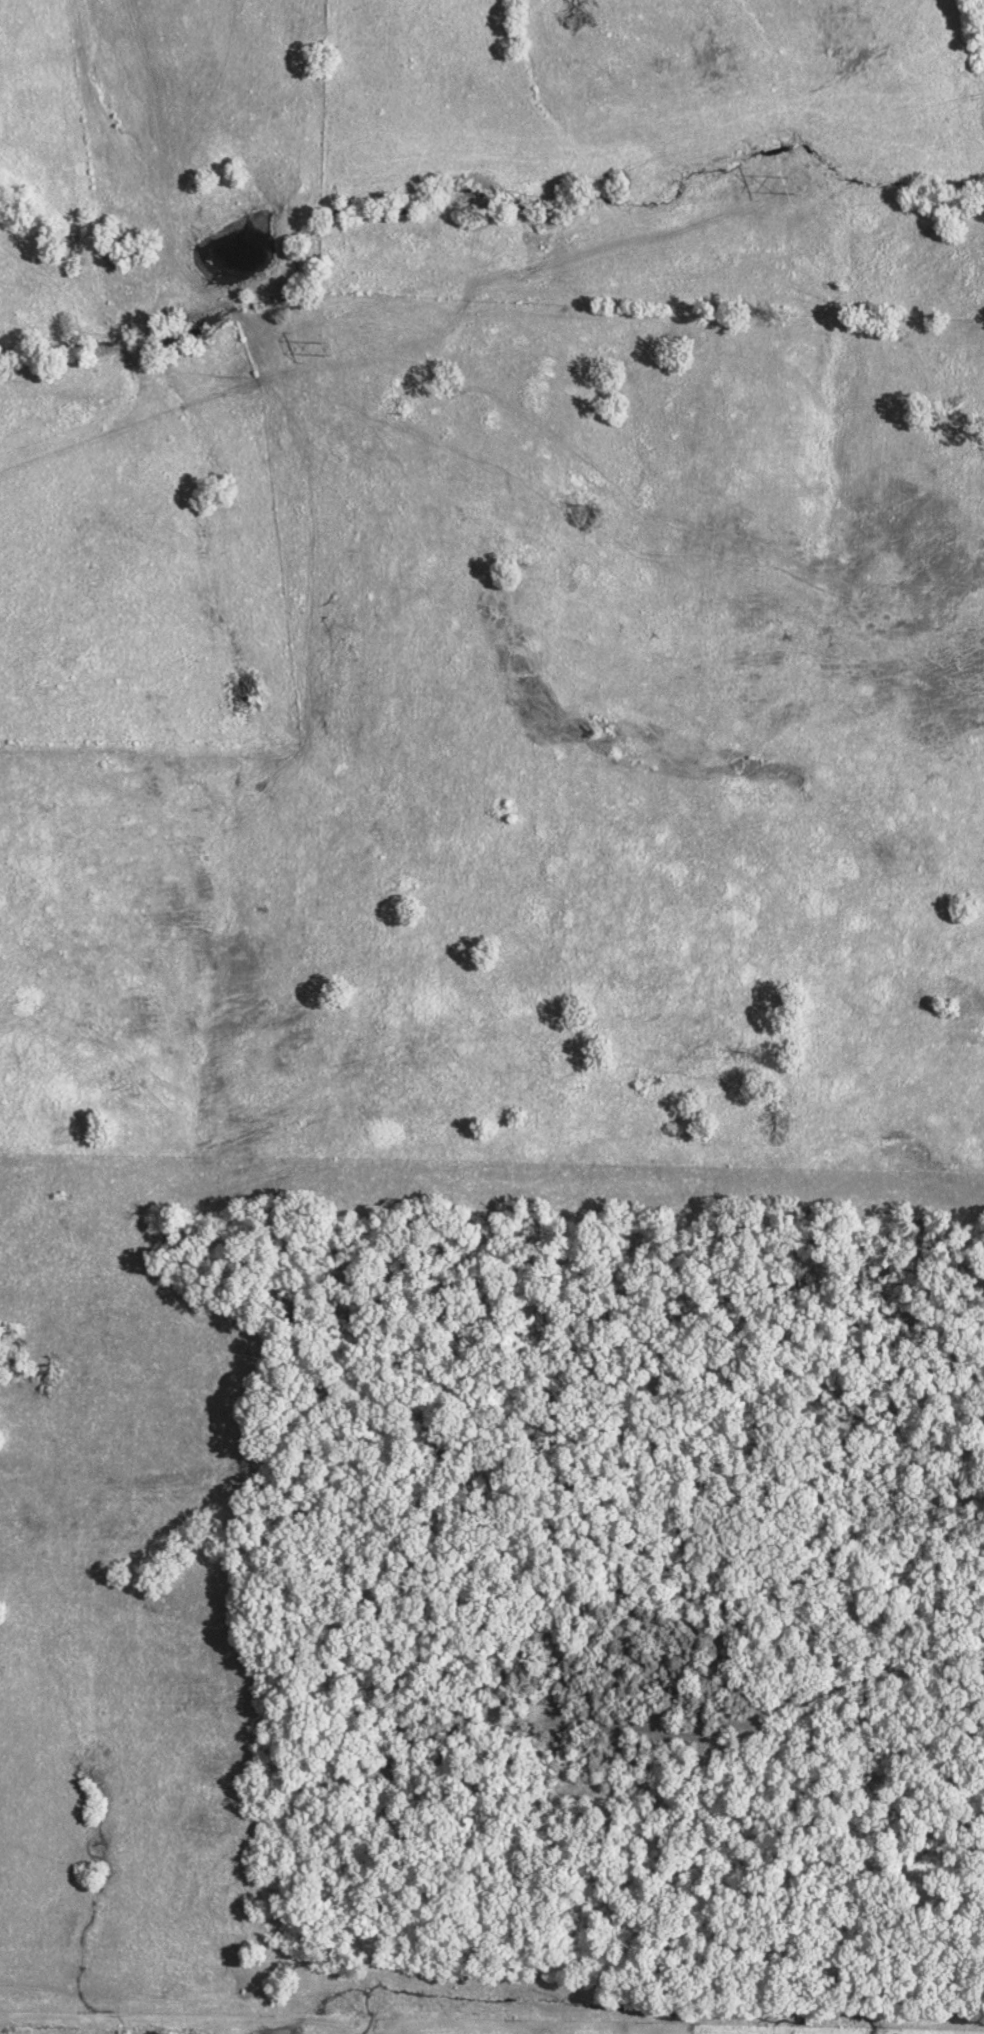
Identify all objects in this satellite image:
power tower: (796, 183)
power tower: (328, 350)

